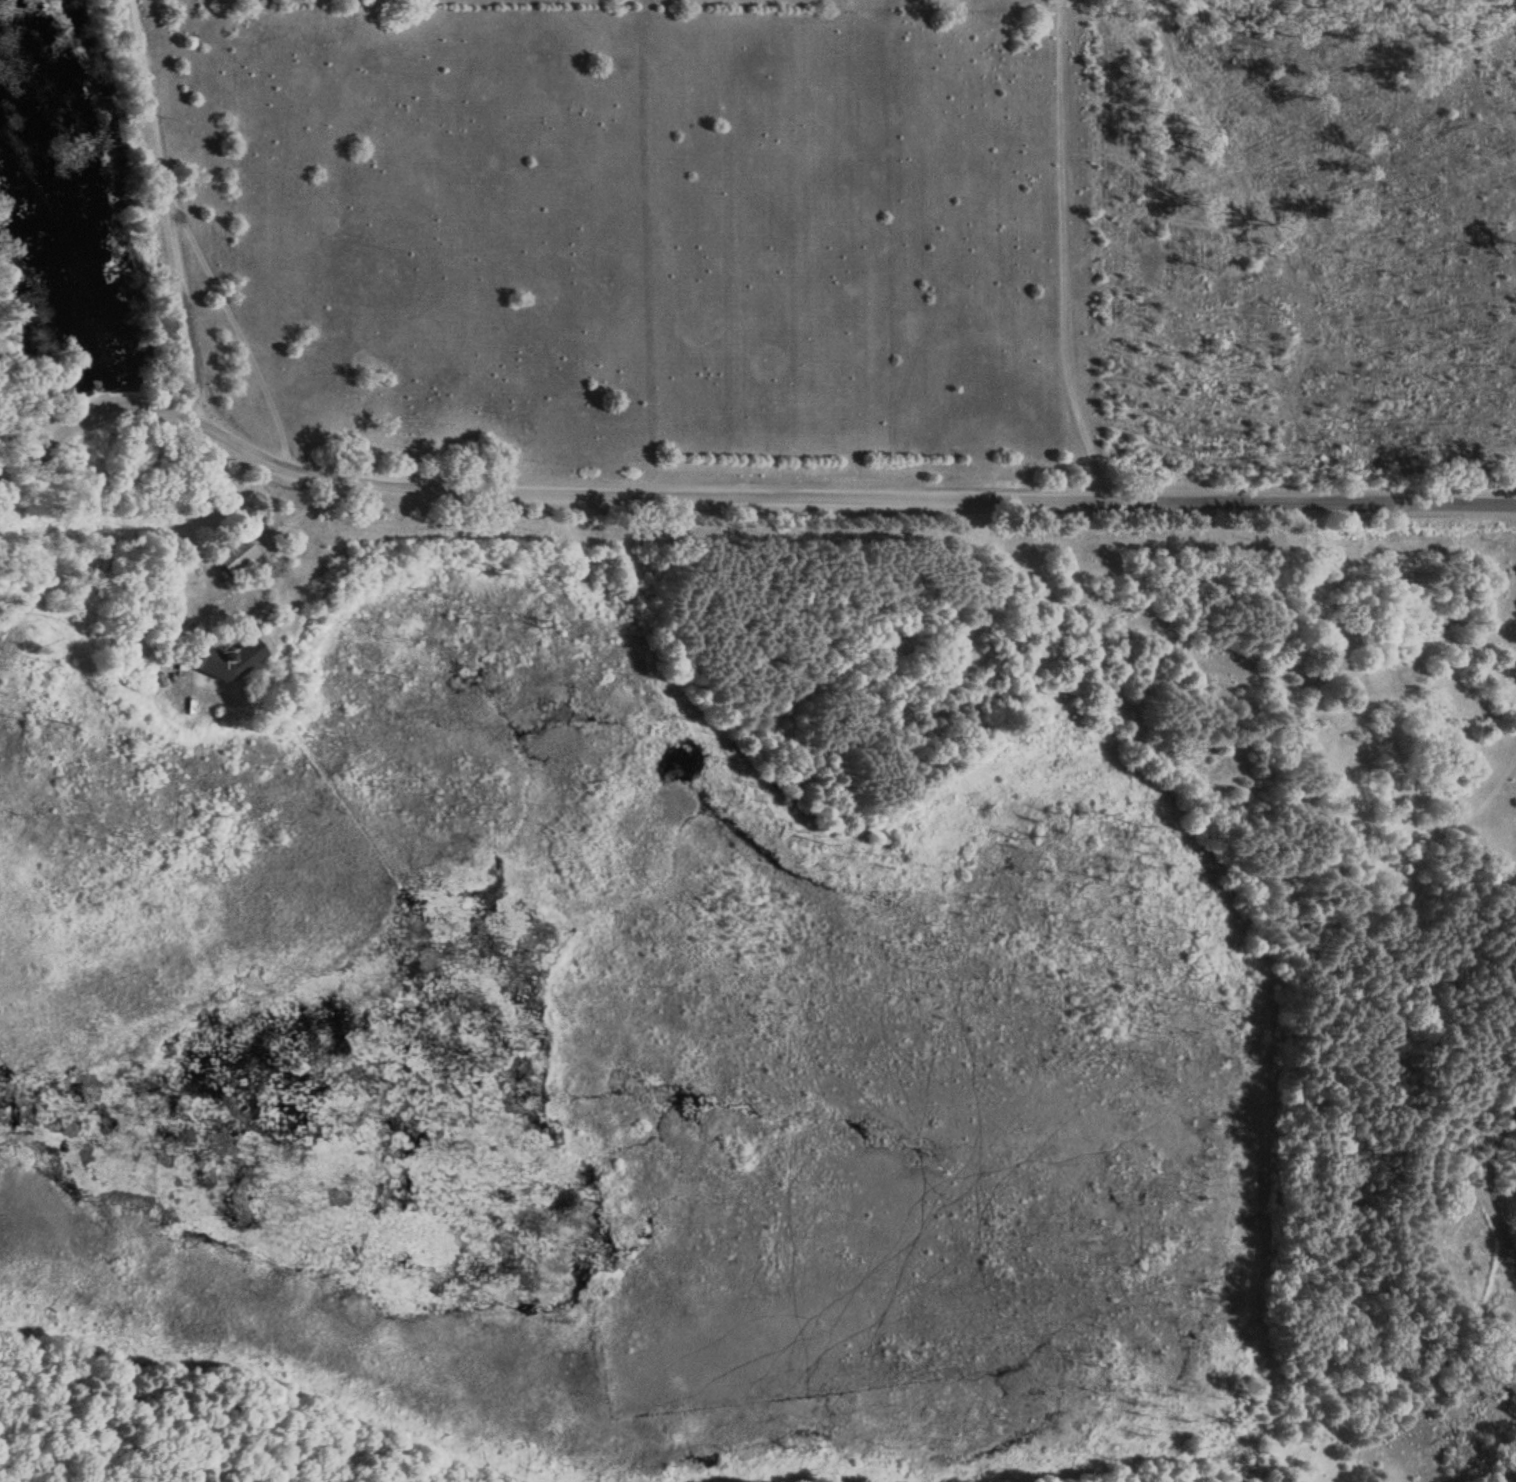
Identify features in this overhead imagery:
road: (168, 209)
road: (727, 479)
building: (235, 556)
road: (1492, 1179)
building: (1504, 1362)
building: (1510, 1386)

